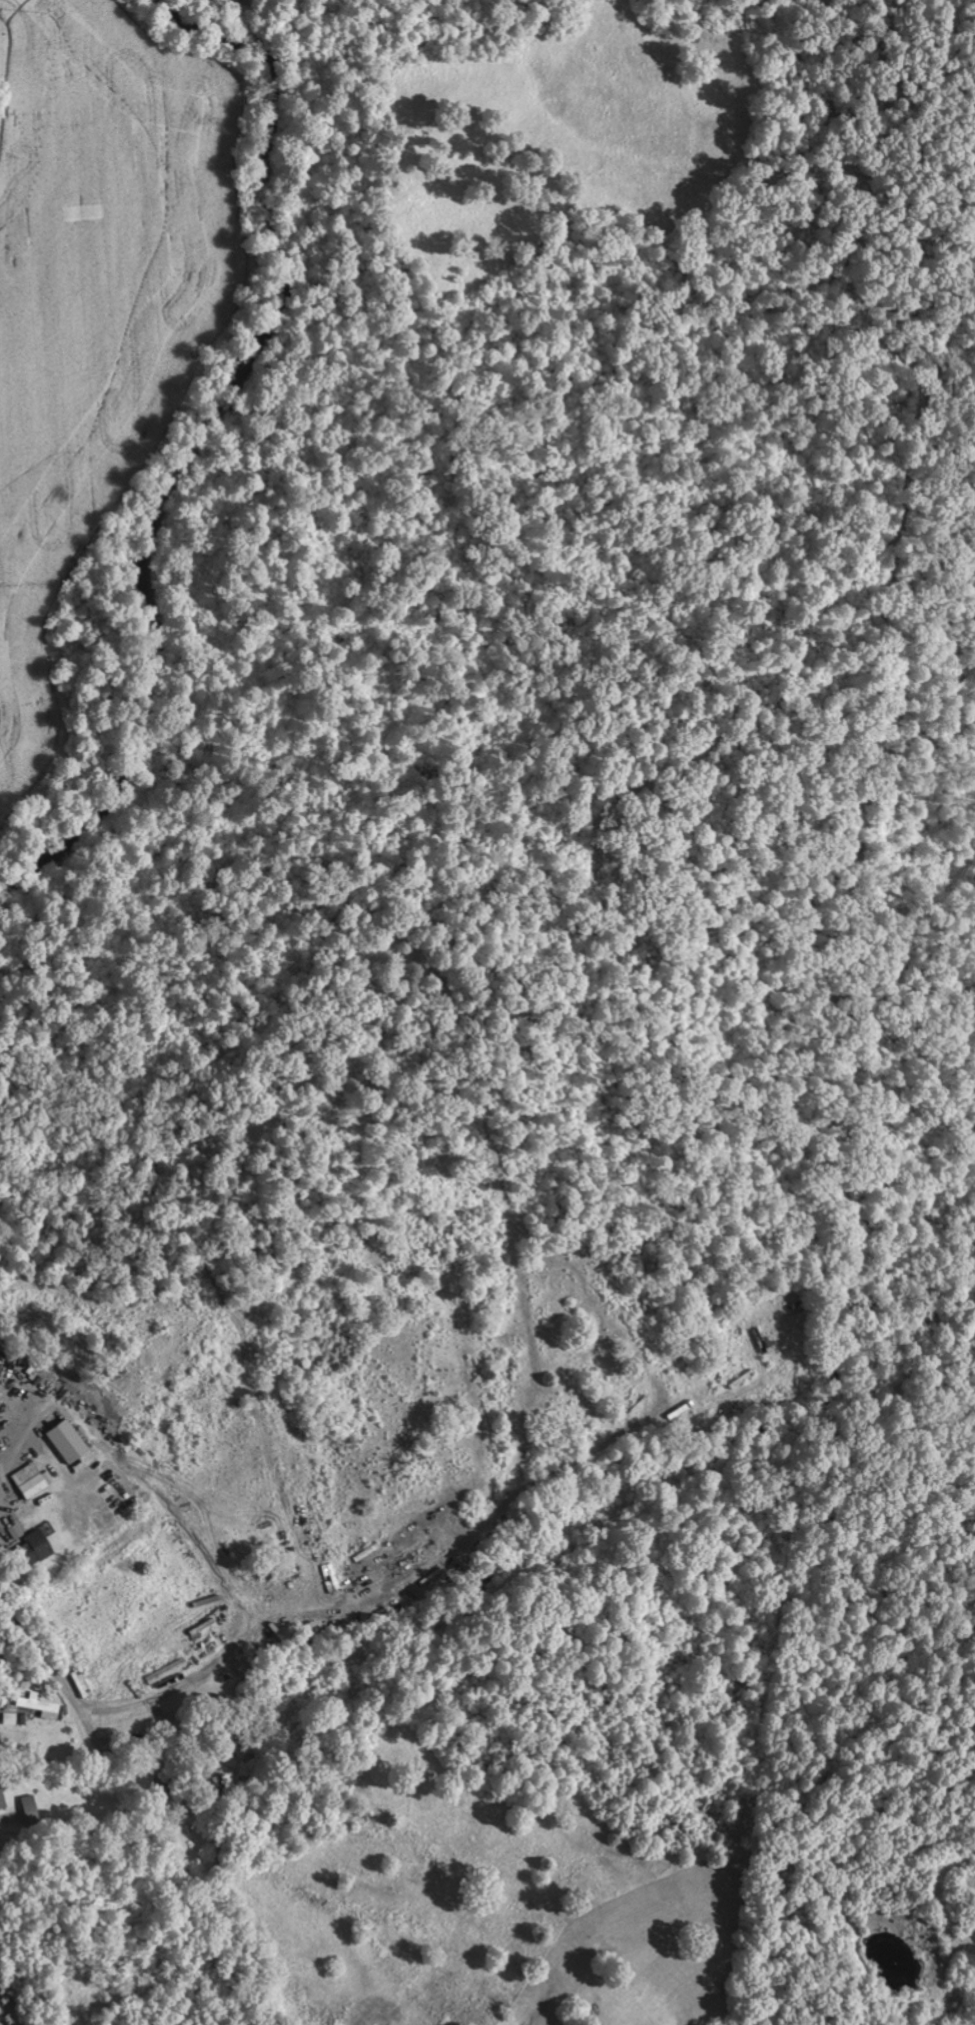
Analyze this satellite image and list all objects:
road: (317, 1180)
building: (70, 1442)
building: (34, 1480)
building: (37, 1548)
building: (40, 1705)
building: (3, 1798)
building: (32, 1810)

